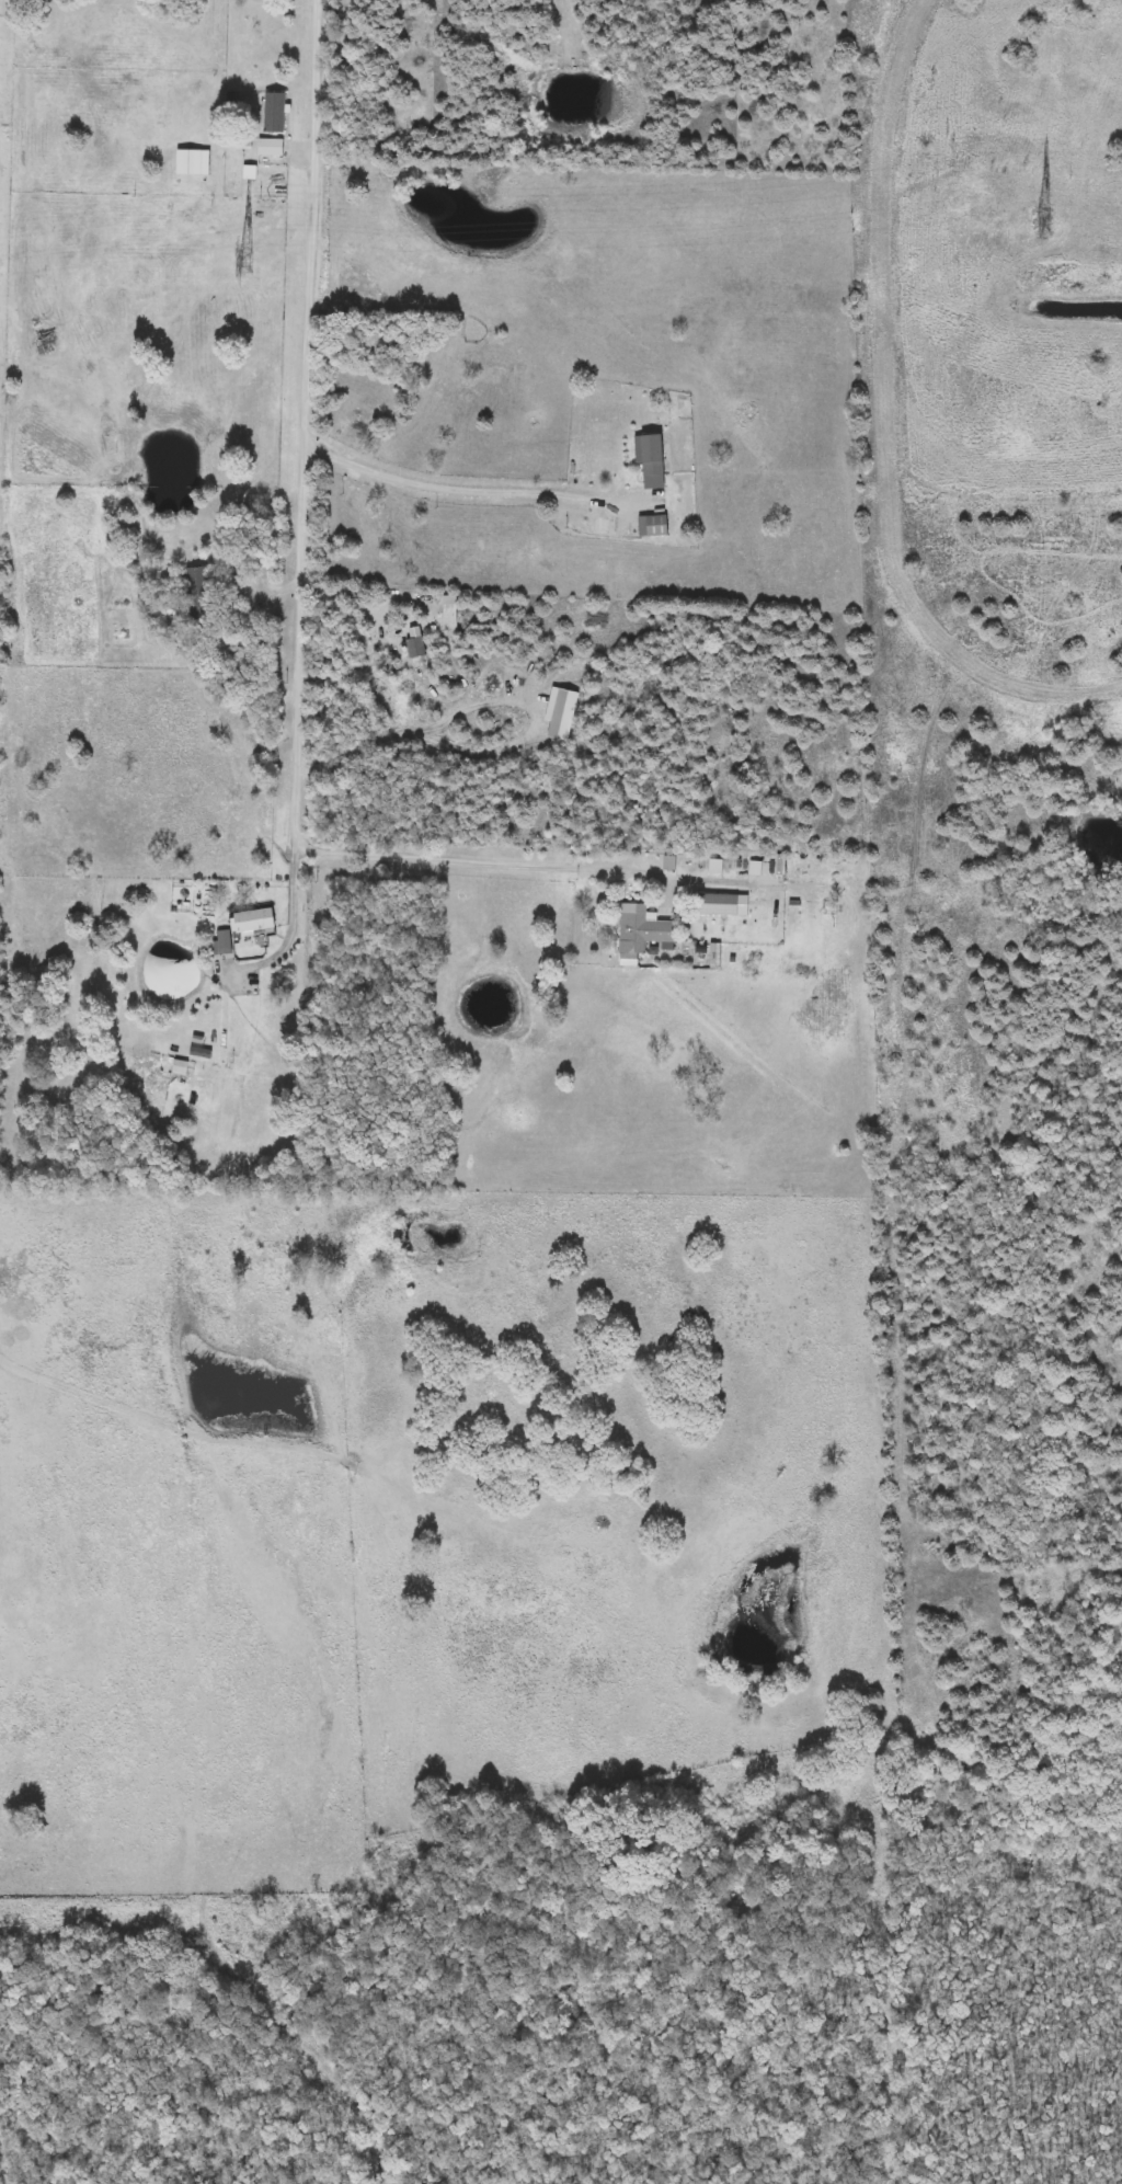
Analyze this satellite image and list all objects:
building: (274, 113)
building: (271, 148)
road: (1, 210)
power tower: (1043, 225)
power tower: (245, 264)
building: (651, 459)
road: (459, 490)
road: (306, 500)
building: (653, 525)
building: (198, 593)
building: (220, 640)
road: (483, 864)
building: (718, 905)
building: (254, 921)
building: (642, 928)
building: (225, 942)

